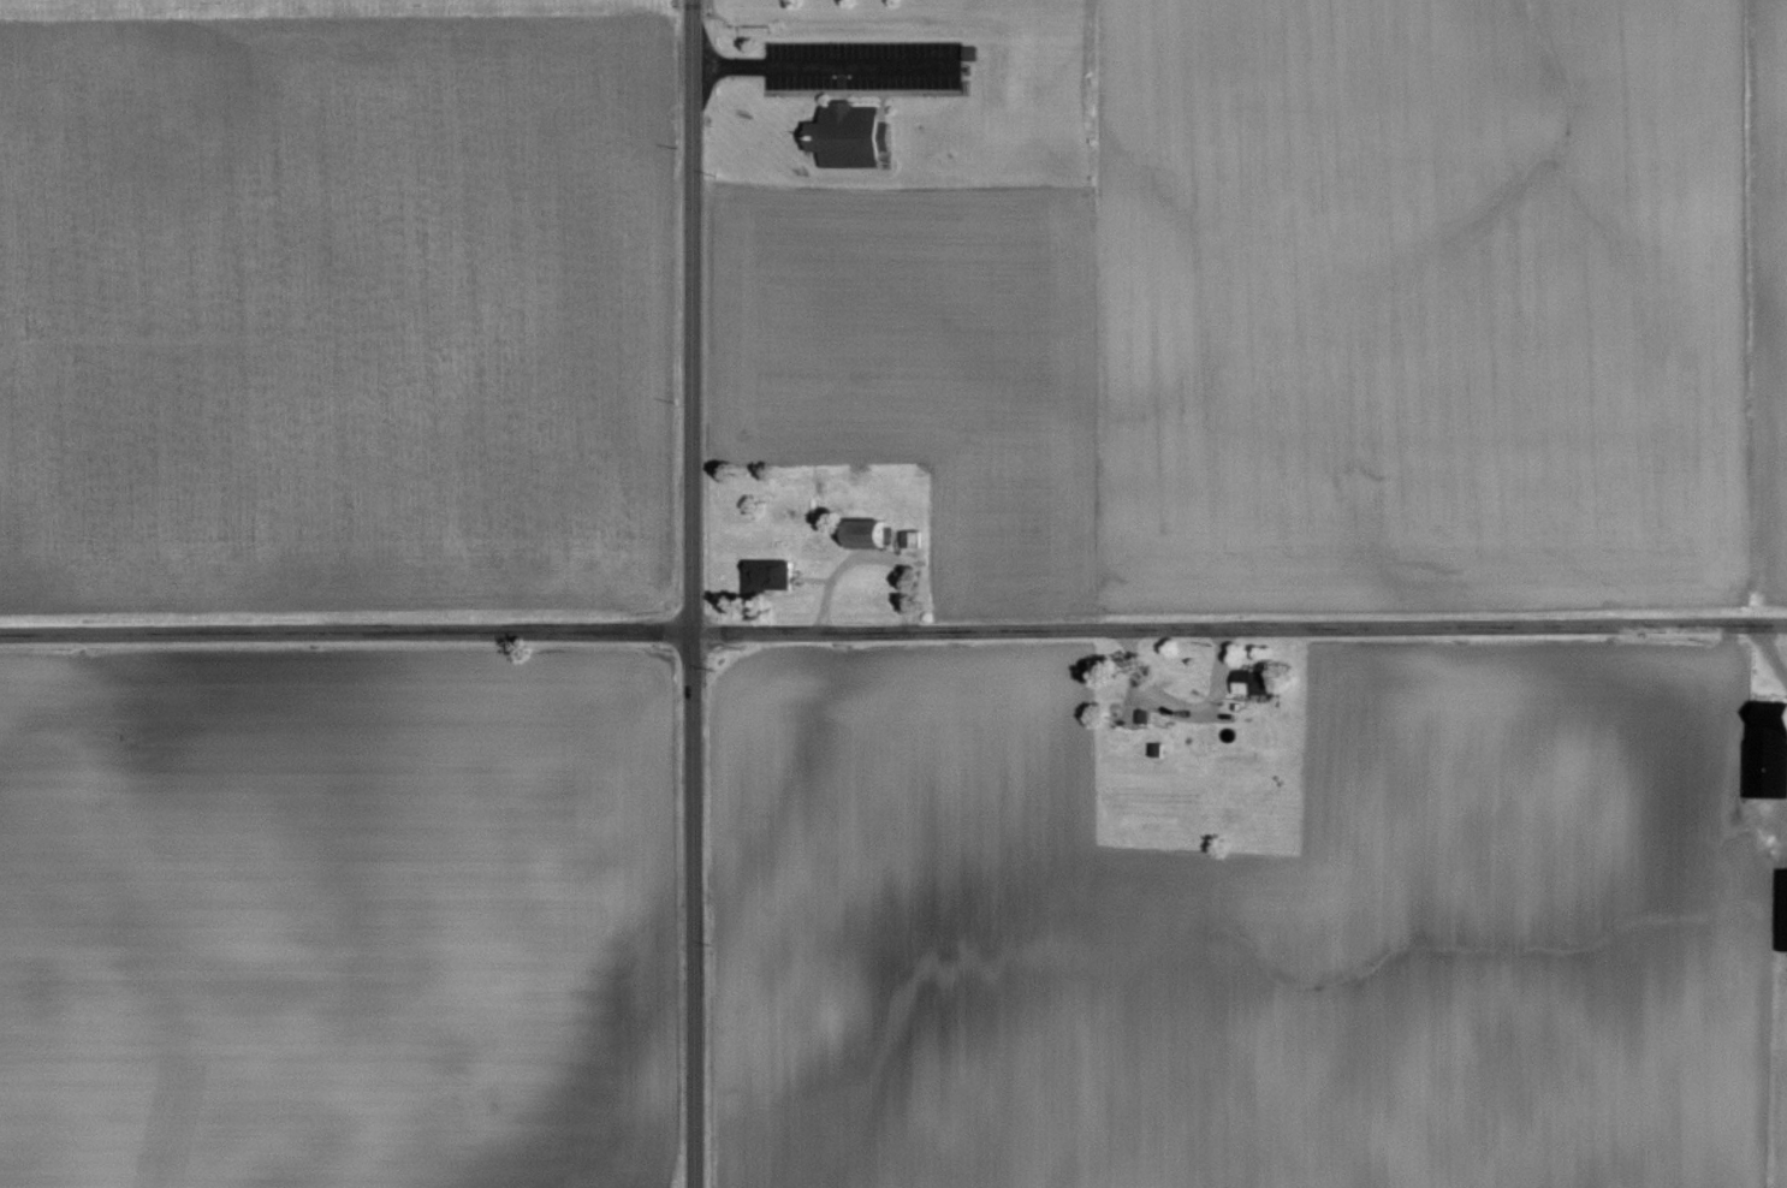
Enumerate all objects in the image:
road: (824, 61)
building: (853, 136)
building: (871, 534)
building: (770, 575)
road: (689, 594)
road: (1237, 630)
road: (344, 632)
building: (1259, 683)
building: (1139, 715)
building: (1767, 749)
building: (1783, 910)

